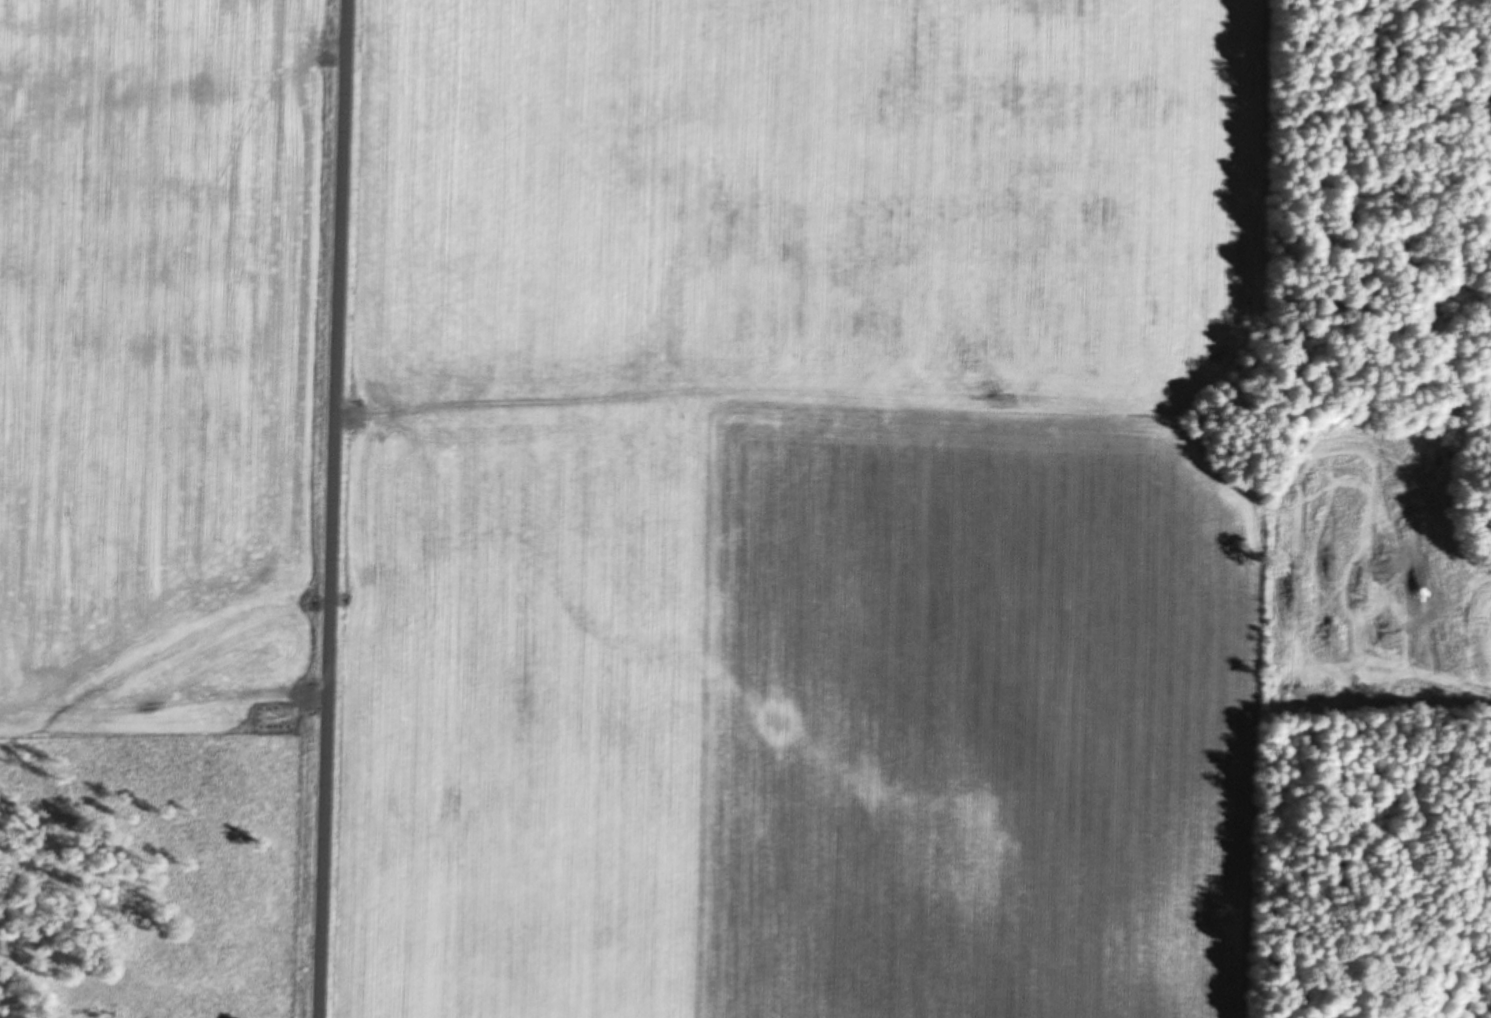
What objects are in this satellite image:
road: (340, 509)

